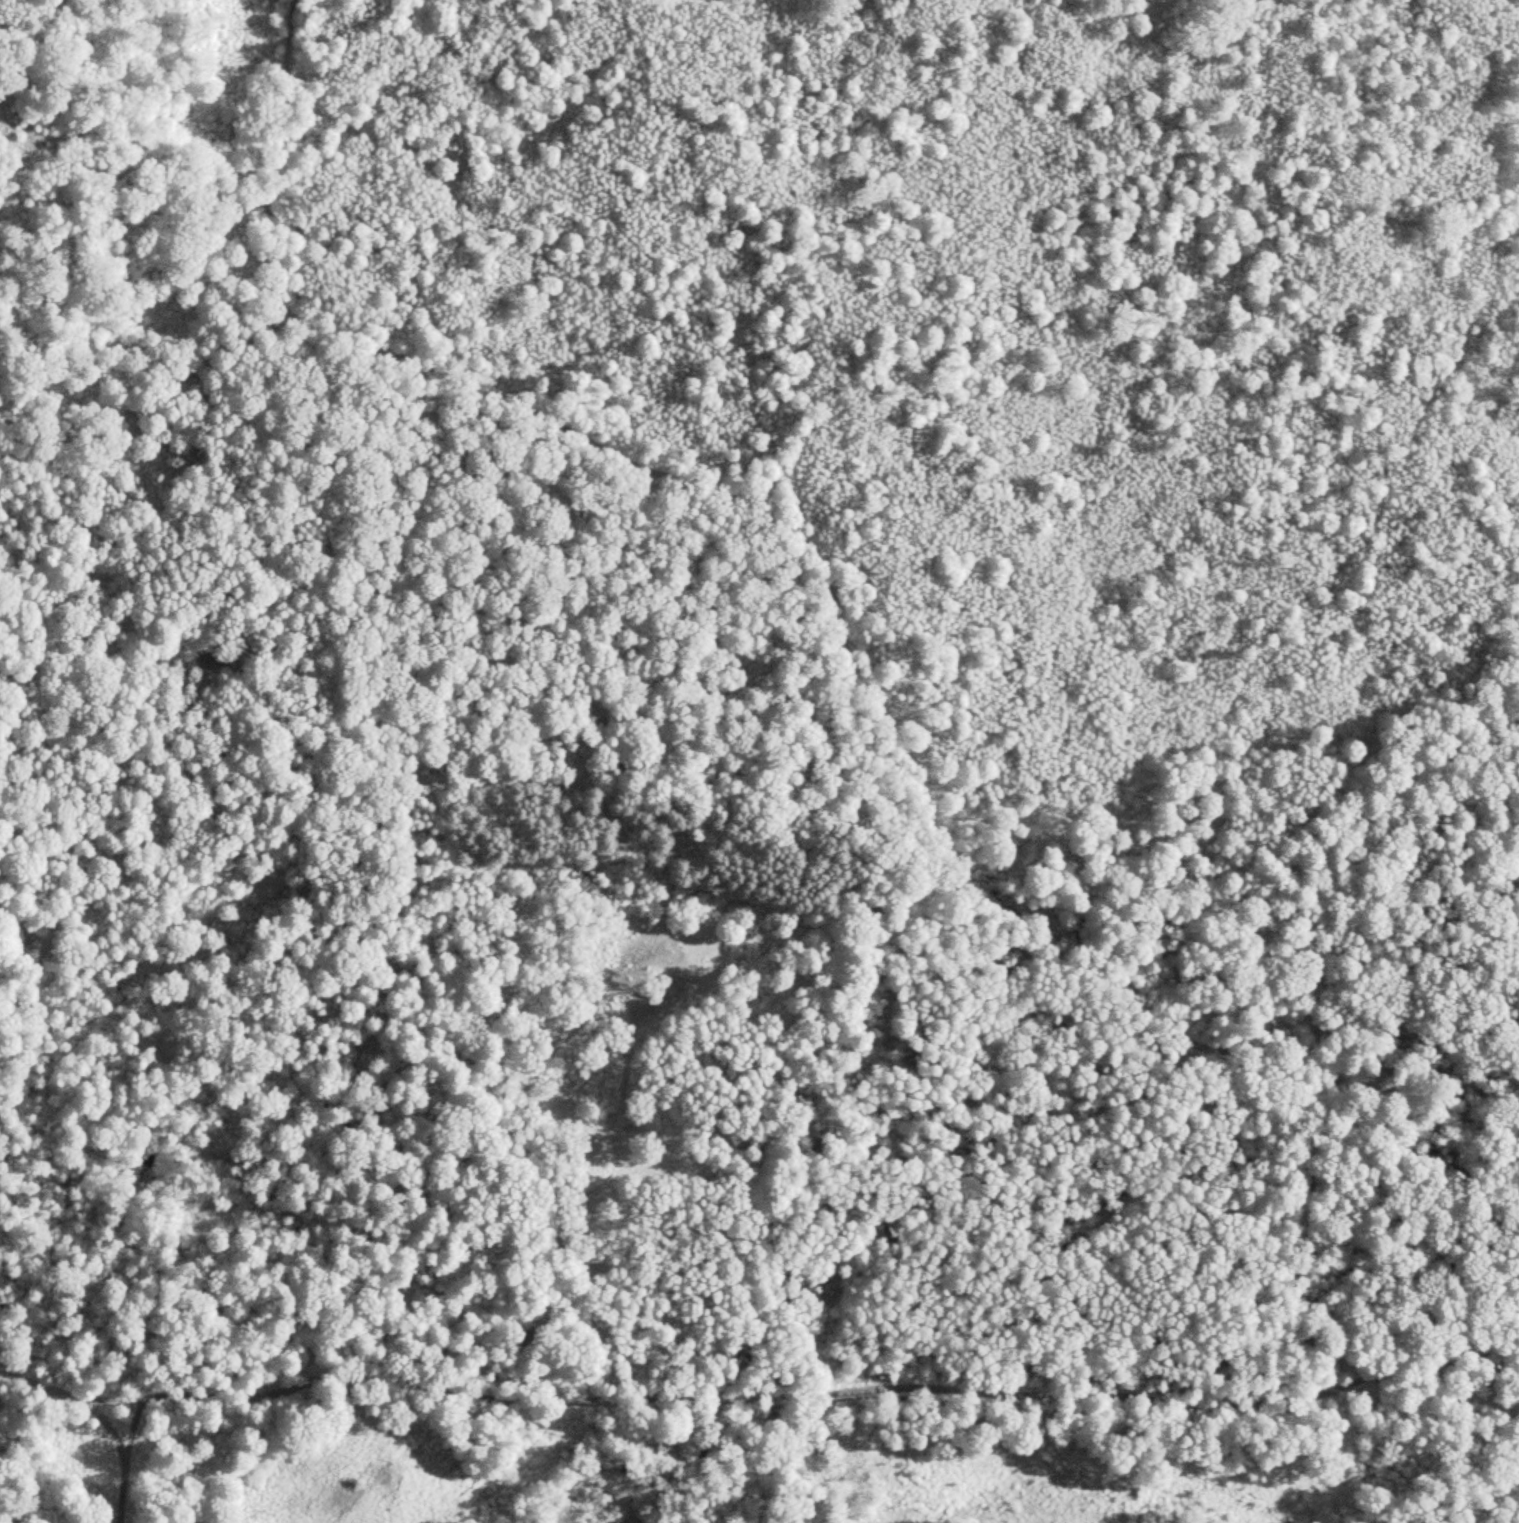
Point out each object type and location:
road: (147, 389)
road: (576, 432)
road: (231, 635)
road: (799, 804)
road: (94, 1001)
road: (1363, 1040)
road: (741, 1197)
road: (208, 1294)
road: (760, 1394)
road: (126, 1457)

